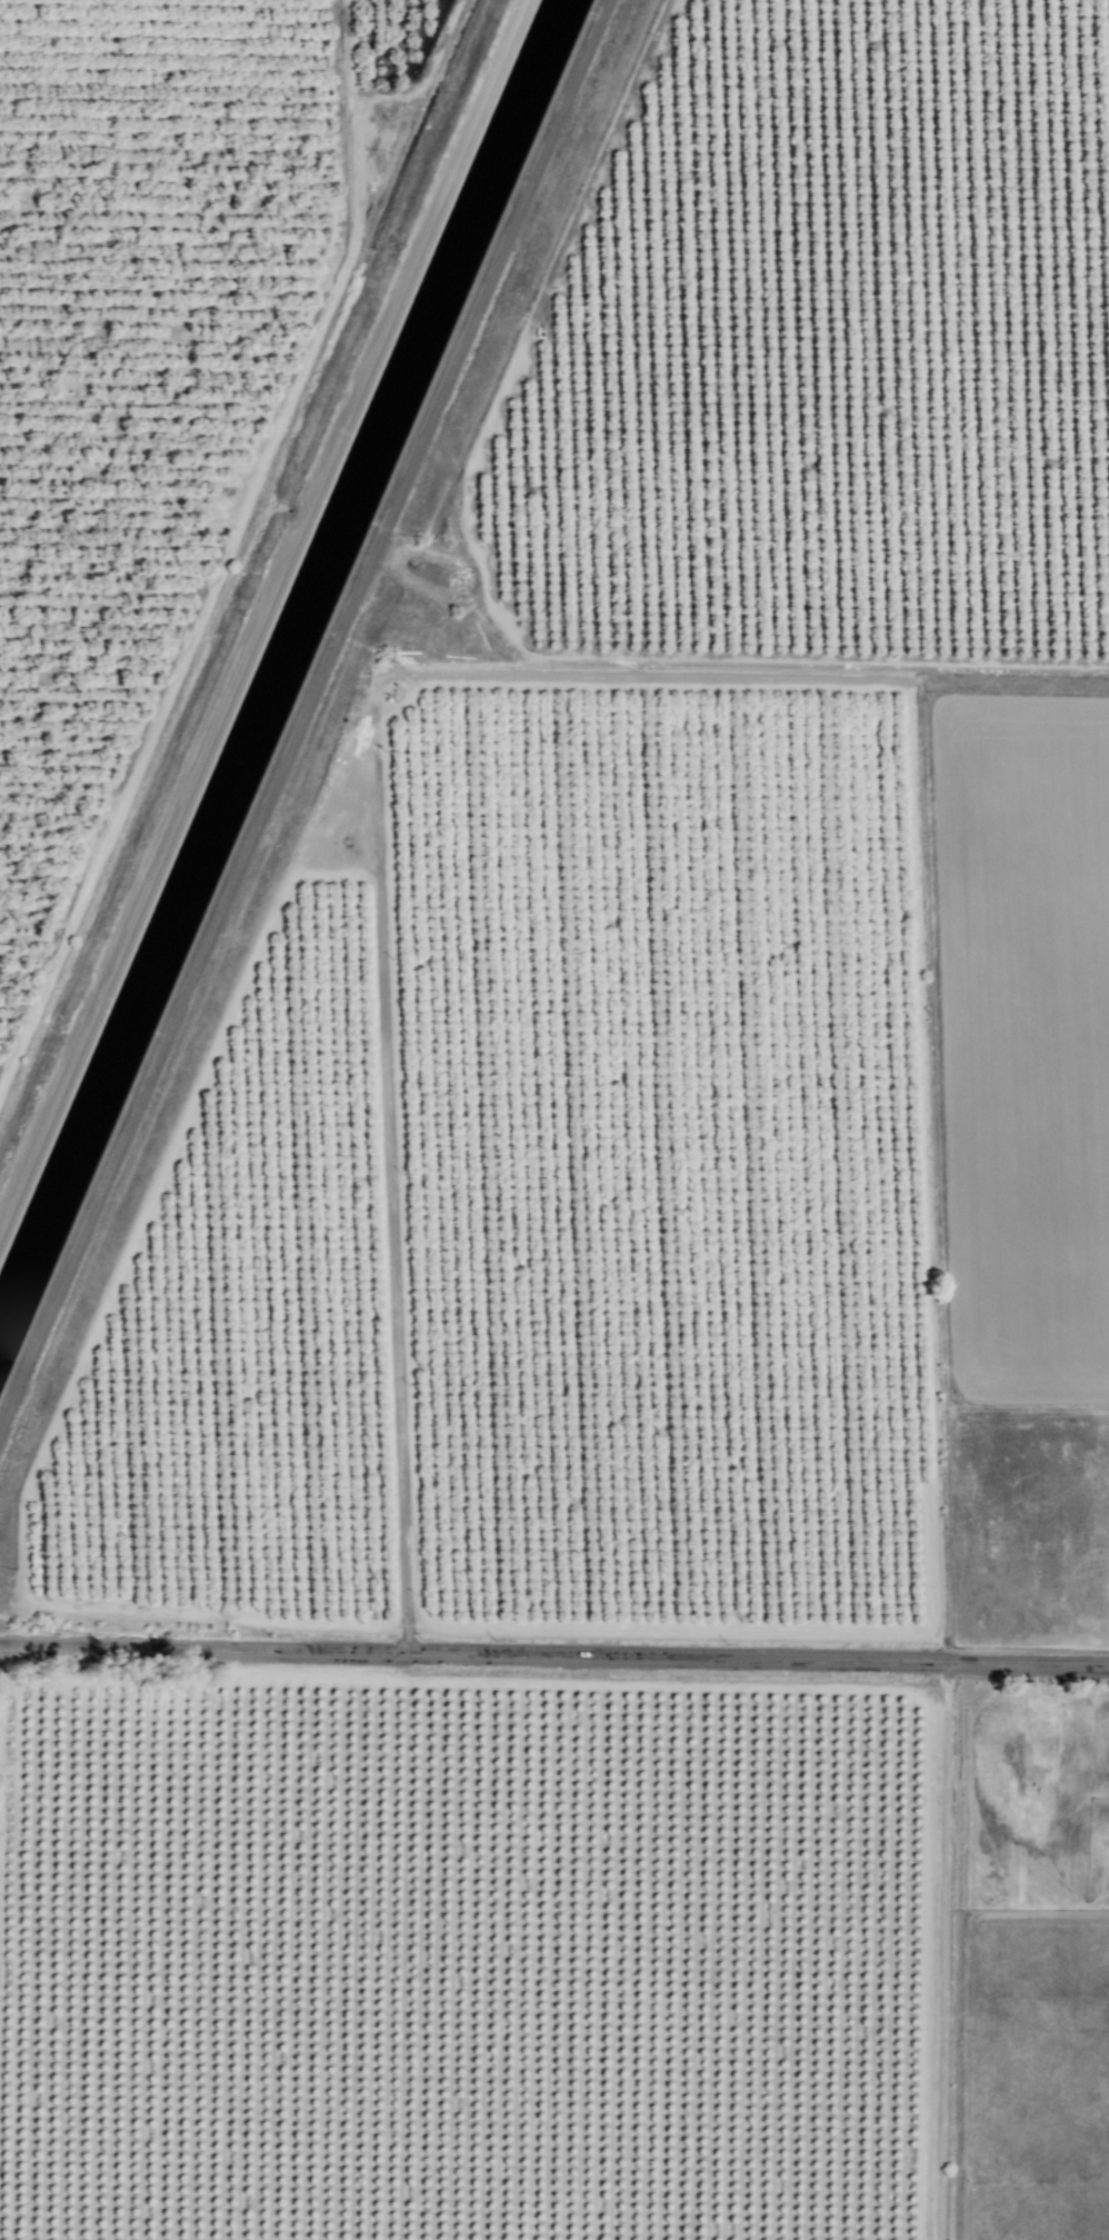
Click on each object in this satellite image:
road: (554, 1656)

